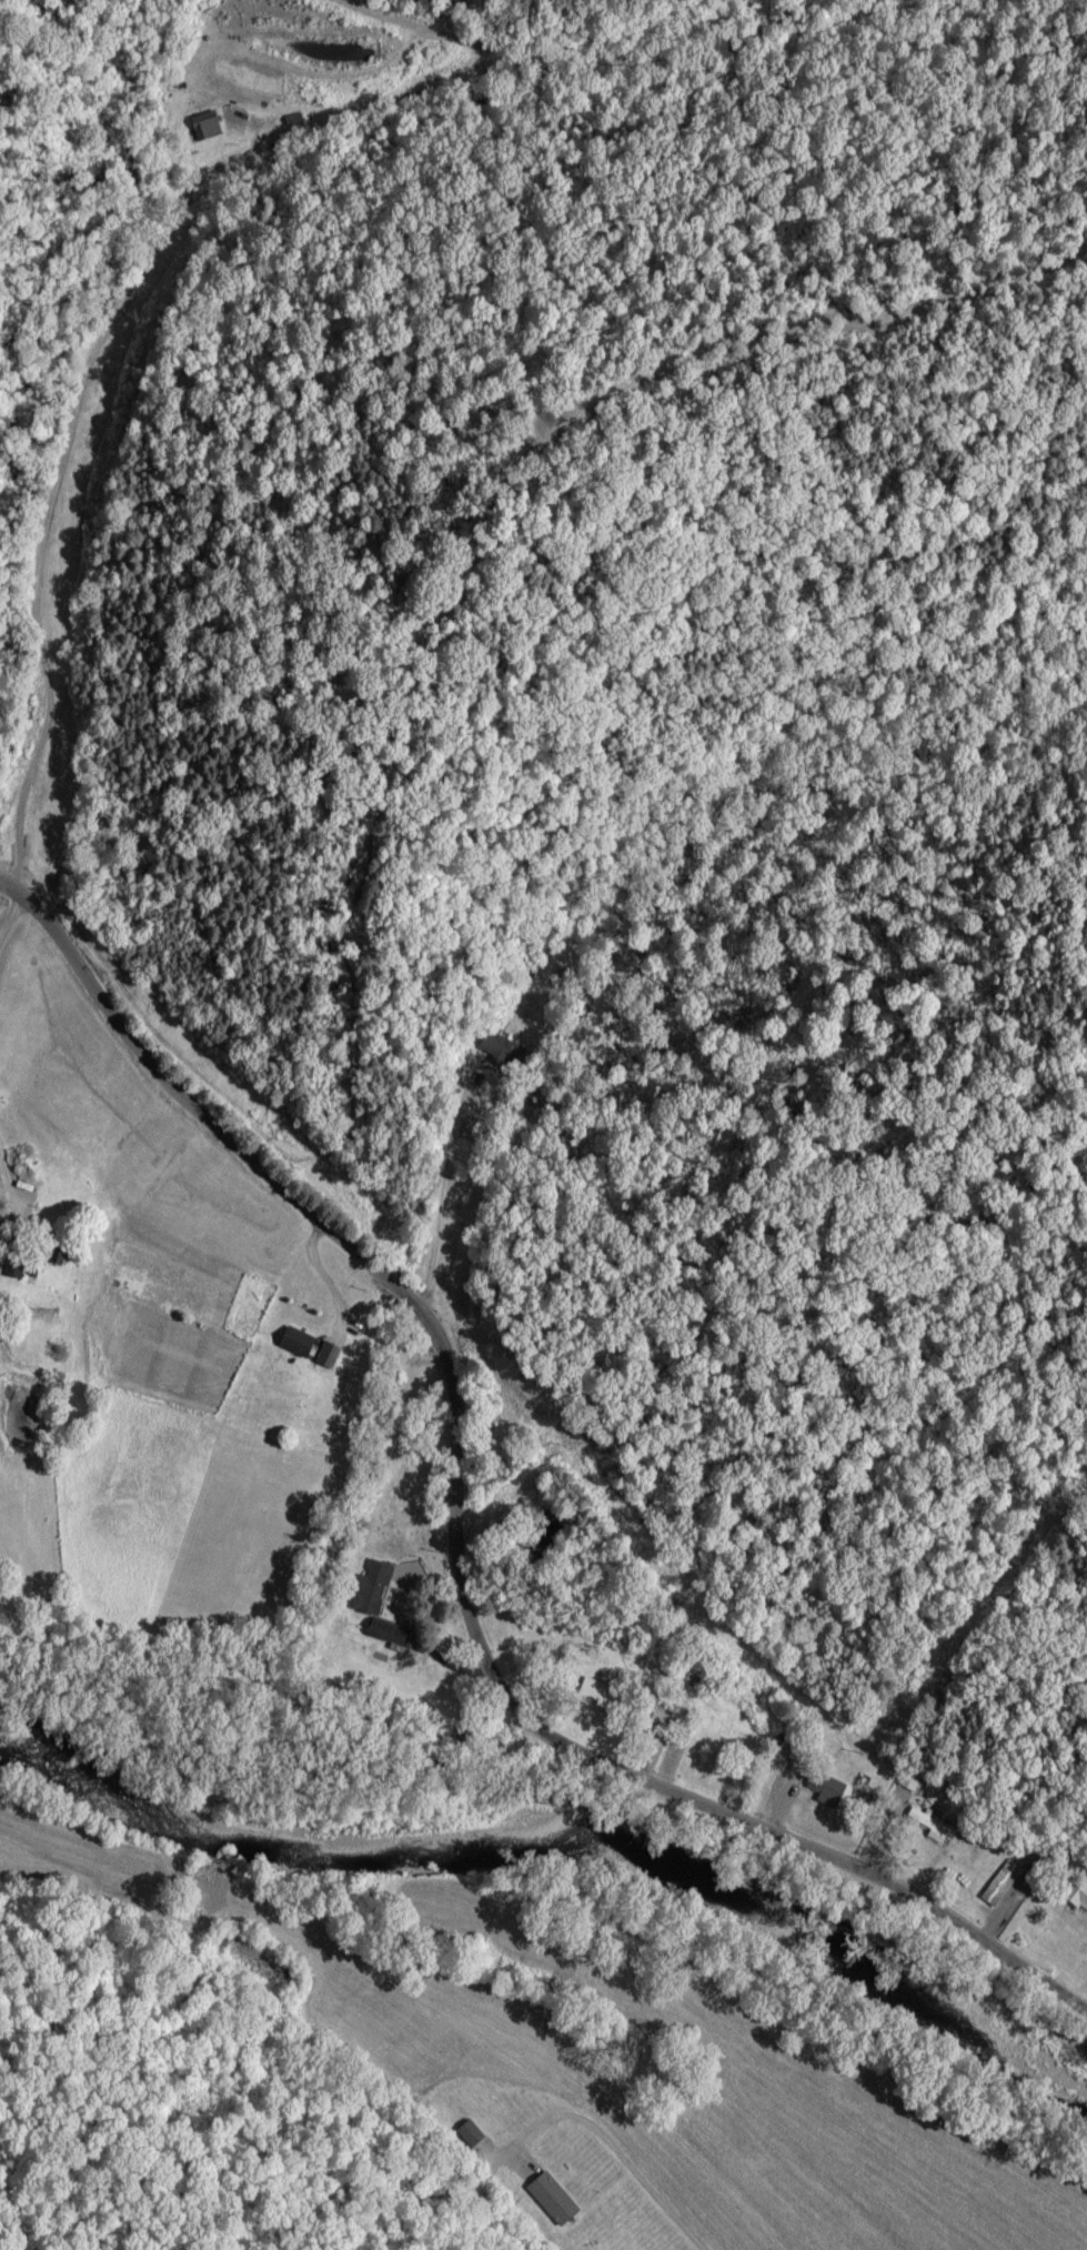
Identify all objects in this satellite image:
building: (205, 127)
road: (73, 496)
road: (13, 937)
building: (496, 1052)
road: (10, 1174)
road: (352, 1315)
building: (296, 1344)
building: (328, 1356)
road: (463, 1539)
building: (372, 1588)
building: (385, 1633)
building: (825, 1790)
river: (564, 1844)
building: (998, 1884)
building: (1076, 1896)
building: (469, 2135)
building: (551, 2200)
road: (492, 2211)

